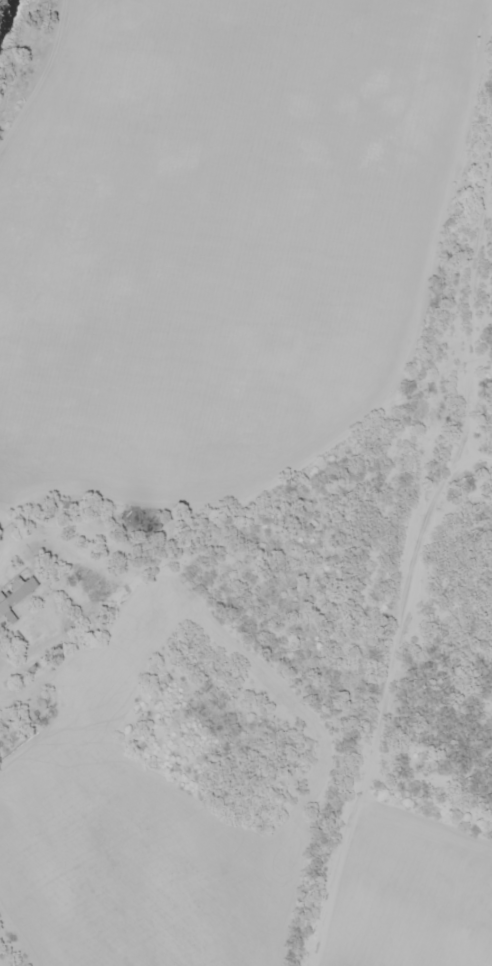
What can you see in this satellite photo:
road: (480, 460)
road: (419, 559)

